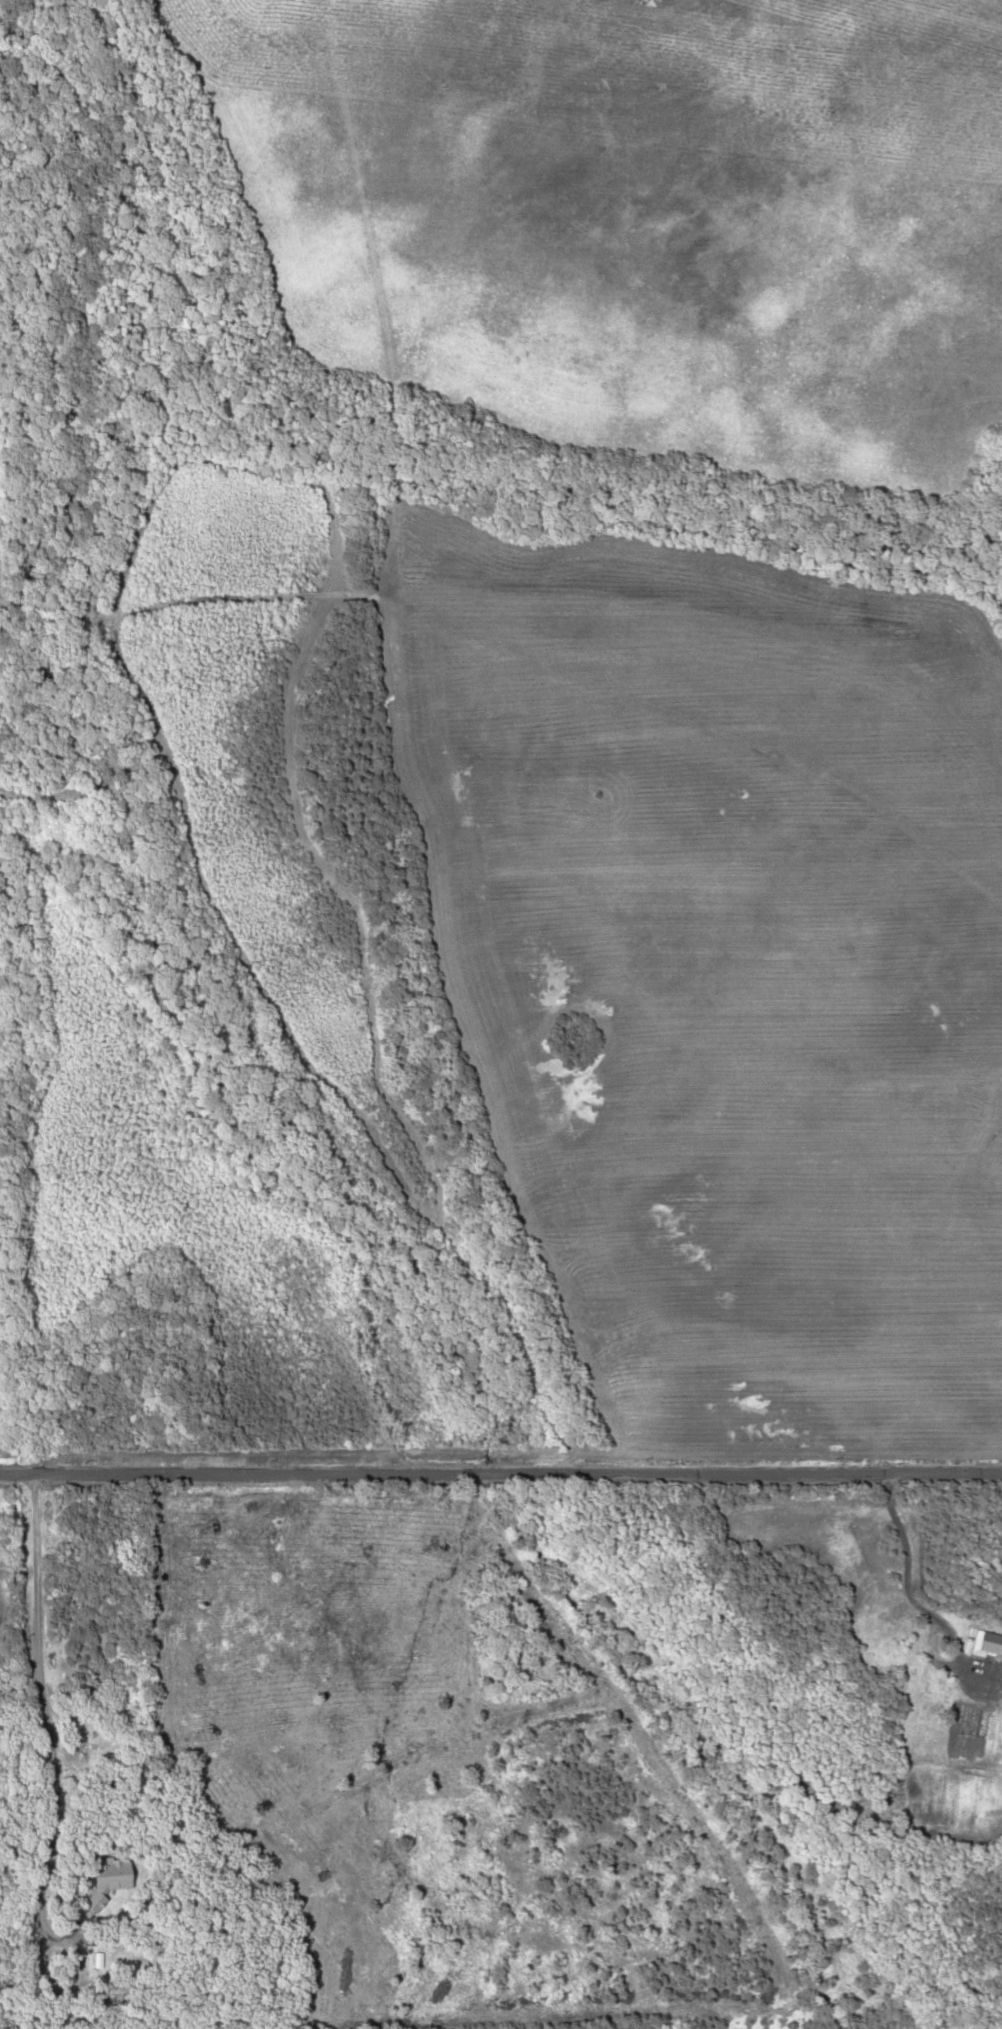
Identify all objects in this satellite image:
road: (500, 1463)
building: (105, 1877)

